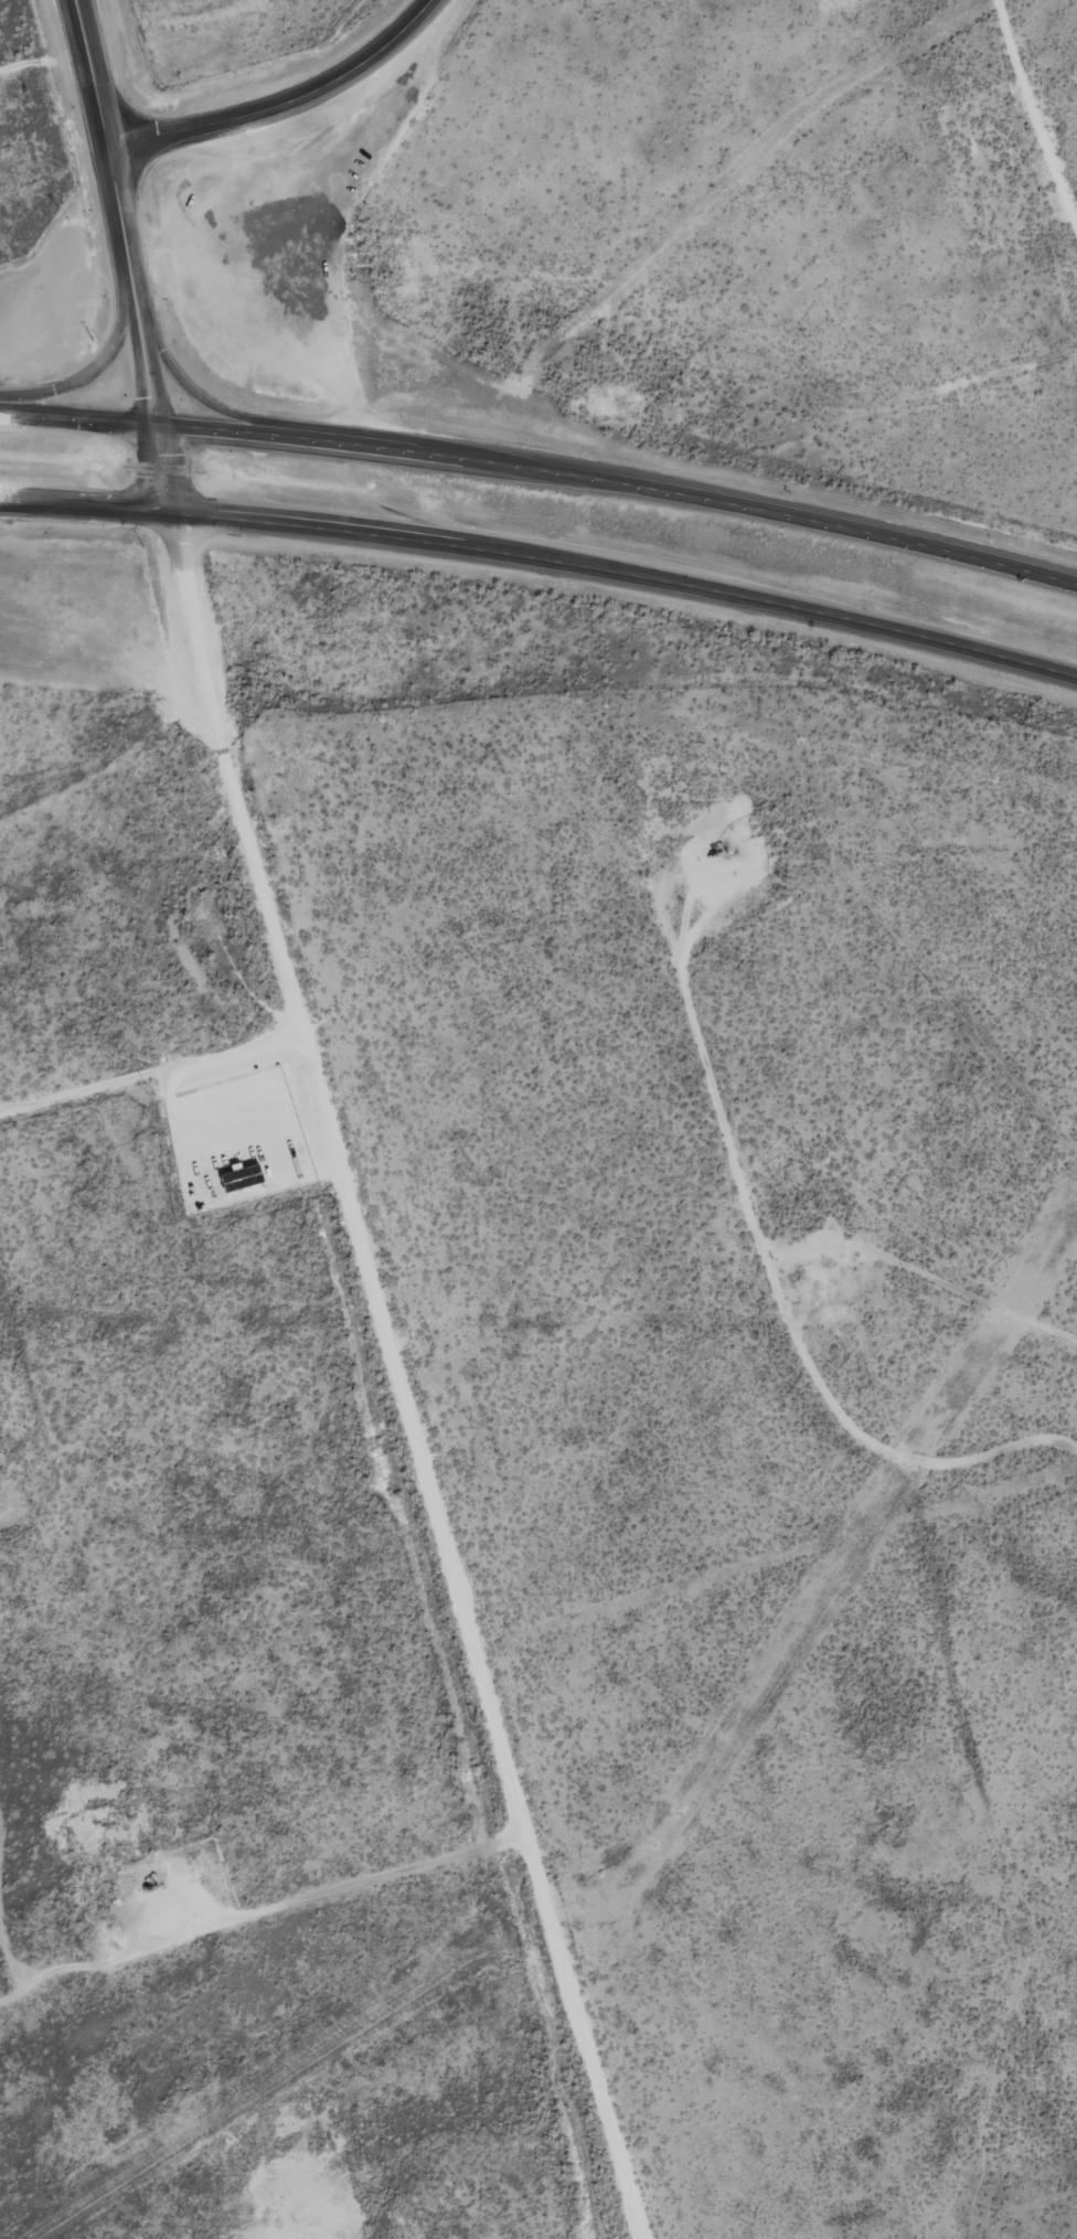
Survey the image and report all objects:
road: (96, 73)
road: (288, 103)
road: (143, 328)
road: (97, 362)
road: (244, 411)
road: (543, 470)
road: (543, 557)
road: (139, 1138)
road: (348, 1378)

